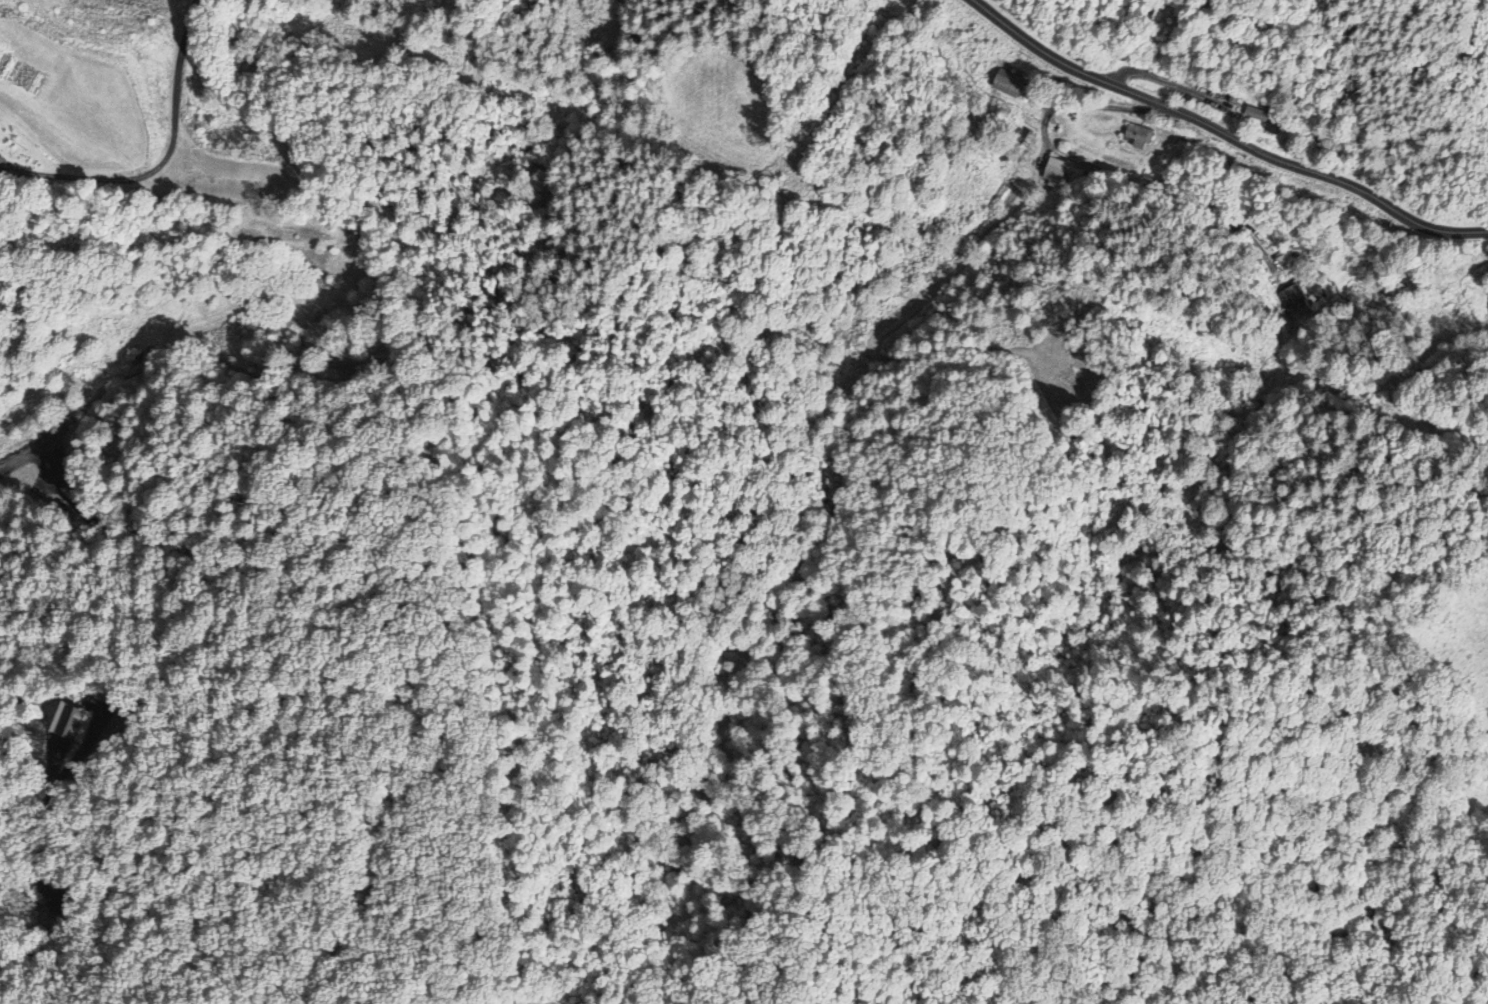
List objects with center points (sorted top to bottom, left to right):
building: (1006, 82)
building: (1264, 117)
road: (1221, 133)
building: (1138, 135)
building: (1024, 136)
building: (1054, 170)
road: (1125, 184)
building: (1004, 189)
building: (1293, 301)
building: (34, 469)

